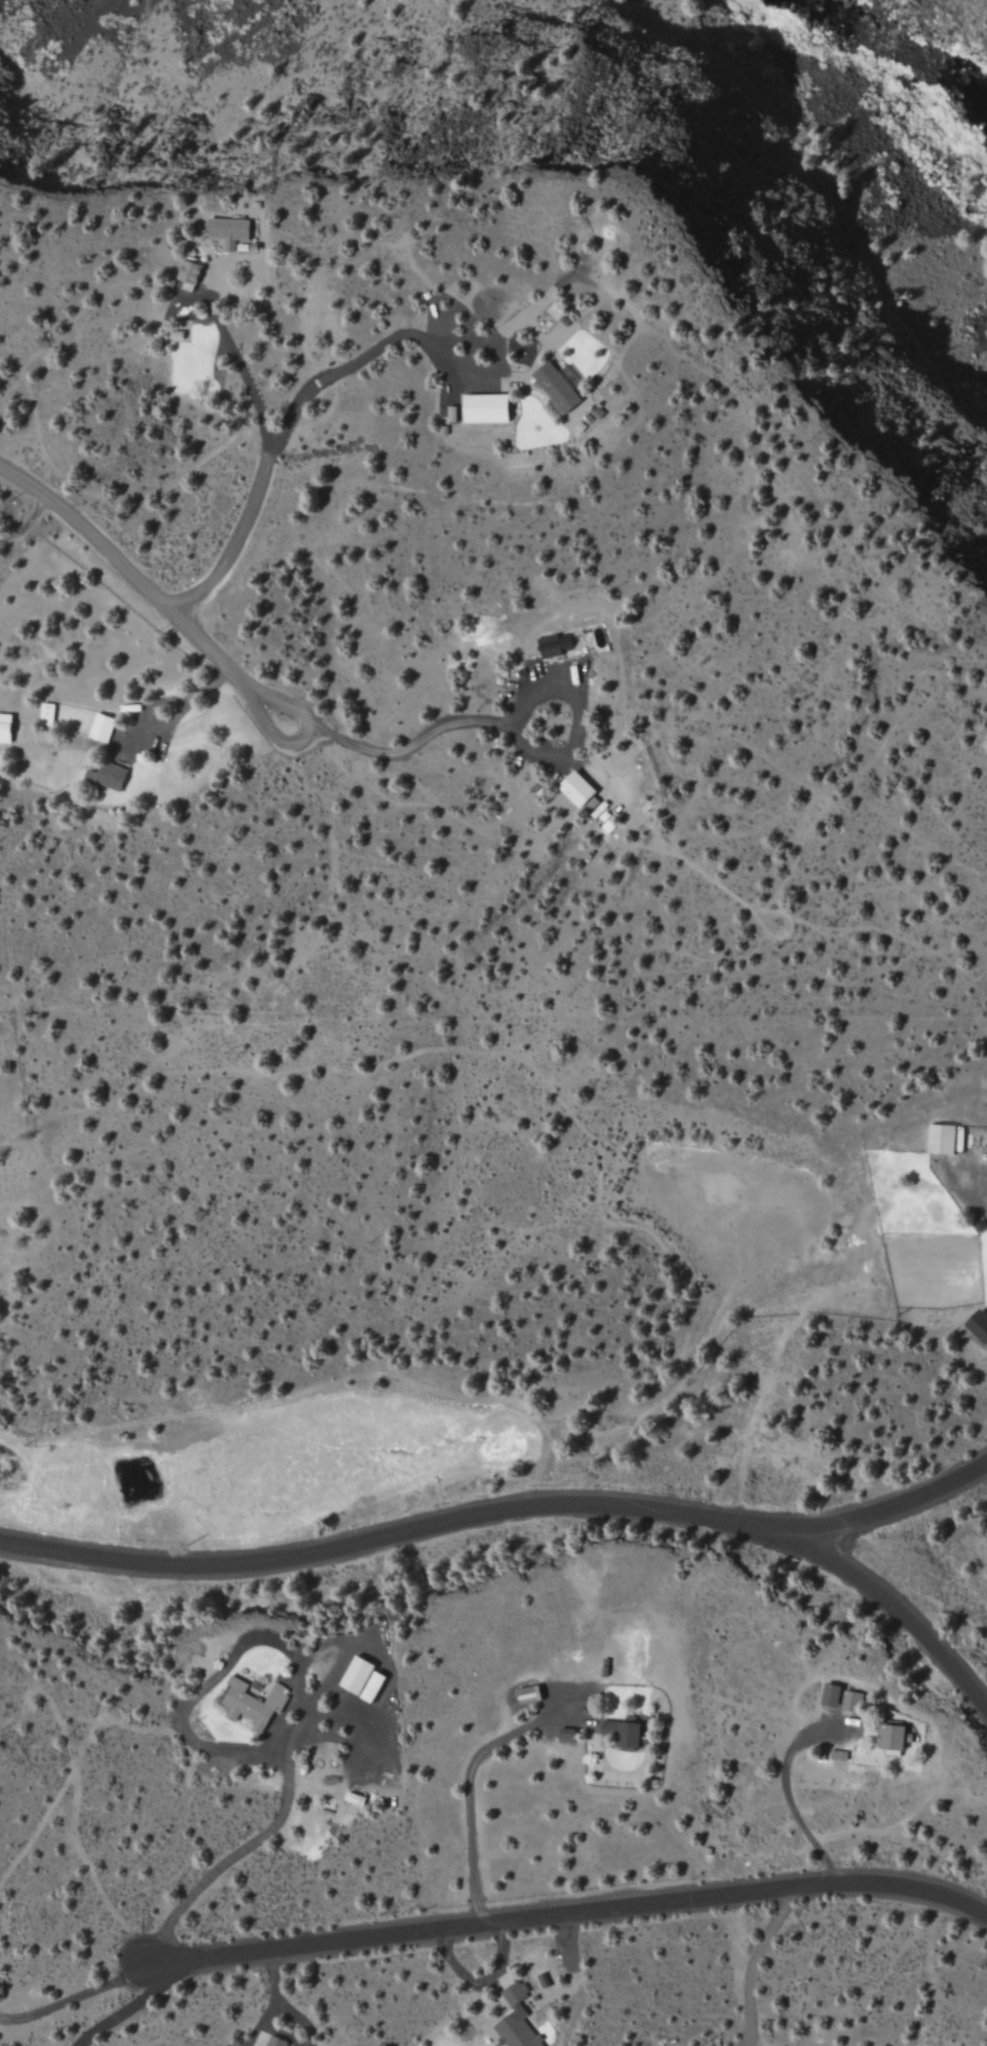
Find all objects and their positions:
river: (878, 66)
building: (224, 231)
building: (185, 272)
building: (552, 387)
building: (480, 408)
road: (290, 412)
road: (28, 522)
road: (132, 572)
building: (557, 645)
road: (182, 703)
building: (43, 714)
building: (3, 728)
building: (98, 729)
road: (305, 741)
road: (408, 746)
building: (102, 775)
building: (572, 789)
building: (938, 1138)
building: (975, 1326)
crop: (246, 1462)
road: (498, 1510)
road: (895, 1611)
building: (358, 1679)
building: (826, 1694)
building: (848, 1700)
building: (249, 1703)
building: (619, 1732)
building: (891, 1736)
road: (568, 1912)
building: (512, 2019)
building: (272, 2041)

